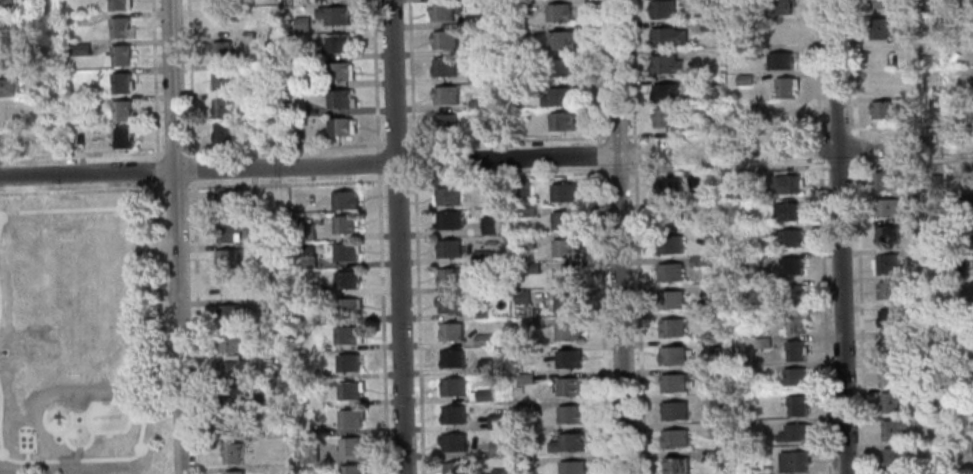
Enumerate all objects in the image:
building: (29, 0)
building: (707, 3)
building: (880, 3)
building: (219, 4)
building: (119, 5)
building: (6, 6)
building: (778, 6)
building: (519, 8)
building: (663, 9)
building: (441, 13)
building: (559, 13)
building: (254, 15)
building: (334, 16)
building: (34, 23)
building: (747, 23)
building: (302, 25)
building: (707, 25)
building: (220, 26)
building: (119, 28)
building: (878, 29)
building: (6, 31)
building: (520, 31)
building: (779, 33)
building: (667, 37)
building: (445, 40)
building: (561, 40)
building: (337, 44)
building: (80, 48)
building: (487, 49)
building: (220, 52)
building: (747, 53)
building: (117, 56)
building: (6, 59)
building: (521, 60)
building: (780, 61)
building: (667, 64)
building: (443, 68)
building: (560, 68)
building: (267, 69)
building: (337, 72)
road: (377, 74)
road: (412, 74)
road: (834, 74)
road: (190, 77)
building: (476, 77)
building: (45, 78)
road: (154, 78)
road: (613, 78)
building: (744, 79)
building: (222, 81)
building: (699, 81)
road: (816, 81)
building: (120, 82)
road: (852, 82)
building: (882, 83)
building: (7, 87)
building: (523, 88)
building: (785, 88)
building: (68, 90)
building: (666, 92)
building: (447, 96)
building: (259, 97)
building: (560, 97)
building: (340, 100)
building: (89, 103)
building: (955, 103)
building: (477, 104)
building: (933, 104)
building: (221, 108)
building: (121, 110)
building: (886, 110)
building: (787, 113)
building: (7, 114)
building: (773, 115)
building: (667, 118)
building: (562, 121)
building: (712, 121)
building: (446, 123)
building: (339, 128)
building: (486, 128)
building: (517, 129)
building: (94, 130)
road: (690, 133)
building: (222, 135)
road: (905, 135)
building: (270, 137)
building: (122, 138)
building: (3, 140)
road: (396, 144)
road: (285, 147)
road: (174, 151)
road: (80, 154)
road: (414, 161)
road: (379, 162)
road: (912, 162)
road: (839, 164)
road: (308, 167)
road: (728, 167)
road: (191, 168)
road: (156, 169)
road: (618, 171)
road: (508, 174)
road: (397, 179)
building: (888, 179)
building: (936, 181)
road: (286, 183)
building: (695, 183)
building: (788, 183)
road: (157, 185)
building: (668, 185)
road: (174, 186)
building: (492, 188)
building: (520, 188)
road: (81, 190)
building: (564, 192)
building: (448, 196)
building: (914, 196)
building: (968, 196)
building: (345, 199)
building: (226, 202)
building: (886, 207)
building: (528, 211)
building: (789, 212)
building: (670, 216)
building: (565, 219)
building: (448, 220)
building: (275, 222)
building: (346, 223)
building: (968, 224)
building: (489, 225)
building: (921, 228)
building: (306, 231)
building: (759, 231)
building: (226, 232)
building: (887, 234)
road: (397, 236)
road: (601, 236)
road: (636, 236)
building: (713, 236)
road: (175, 237)
building: (791, 239)
building: (526, 242)
building: (669, 244)
building: (259, 248)
building: (448, 248)
building: (566, 248)
building: (347, 251)
building: (927, 253)
building: (480, 256)
building: (307, 257)
building: (227, 259)
building: (698, 261)
building: (887, 264)
building: (791, 267)
building: (531, 268)
building: (953, 270)
building: (669, 272)
building: (566, 275)
building: (448, 277)
building: (347, 279)
building: (482, 285)
building: (315, 290)
building: (891, 290)
building: (715, 291)
building: (795, 295)
building: (522, 296)
building: (671, 299)
building: (450, 304)
building: (567, 304)
building: (348, 307)
building: (482, 311)
road: (841, 311)
building: (534, 312)
building: (228, 315)
road: (620, 315)
building: (717, 317)
building: (890, 317)
building: (763, 319)
road: (823, 319)
road: (860, 319)
building: (535, 322)
road: (383, 323)
road: (418, 323)
building: (794, 323)
road: (197, 327)
building: (672, 328)
building: (568, 330)
building: (449, 331)
road: (10, 332)
park: (81, 334)
building: (347, 335)
building: (482, 340)
building: (228, 342)
building: (762, 343)
building: (889, 347)
building: (795, 350)
building: (673, 355)
building: (452, 359)
building: (568, 359)
building: (348, 363)
building: (922, 363)
building: (487, 365)
building: (234, 370)
building: (313, 373)
building: (890, 374)
building: (717, 376)
building: (794, 377)
building: (525, 378)
building: (674, 382)
building: (569, 386)
building: (451, 387)
building: (276, 388)
building: (351, 389)
building: (473, 395)
building: (485, 395)
building: (231, 398)
building: (718, 400)
building: (890, 402)
building: (525, 406)
building: (797, 406)
building: (674, 410)
building: (570, 414)
building: (453, 415)
building: (351, 417)
building: (496, 420)
building: (969, 421)
building: (231, 426)
building: (894, 428)
building: (719, 430)
building: (794, 433)
building: (675, 438)
building: (453, 442)
building: (567, 443)
building: (308, 444)
building: (352, 445)
building: (497, 448)
building: (233, 453)
building: (308, 454)
building: (894, 456)
building: (718, 458)
building: (290, 460)
building: (526, 461)
building: (794, 461)
building: (676, 466)
building: (572, 467)
building: (454, 468)
building: (353, 469)
building: (500, 471)
building: (234, 472)
building: (934, 472)

